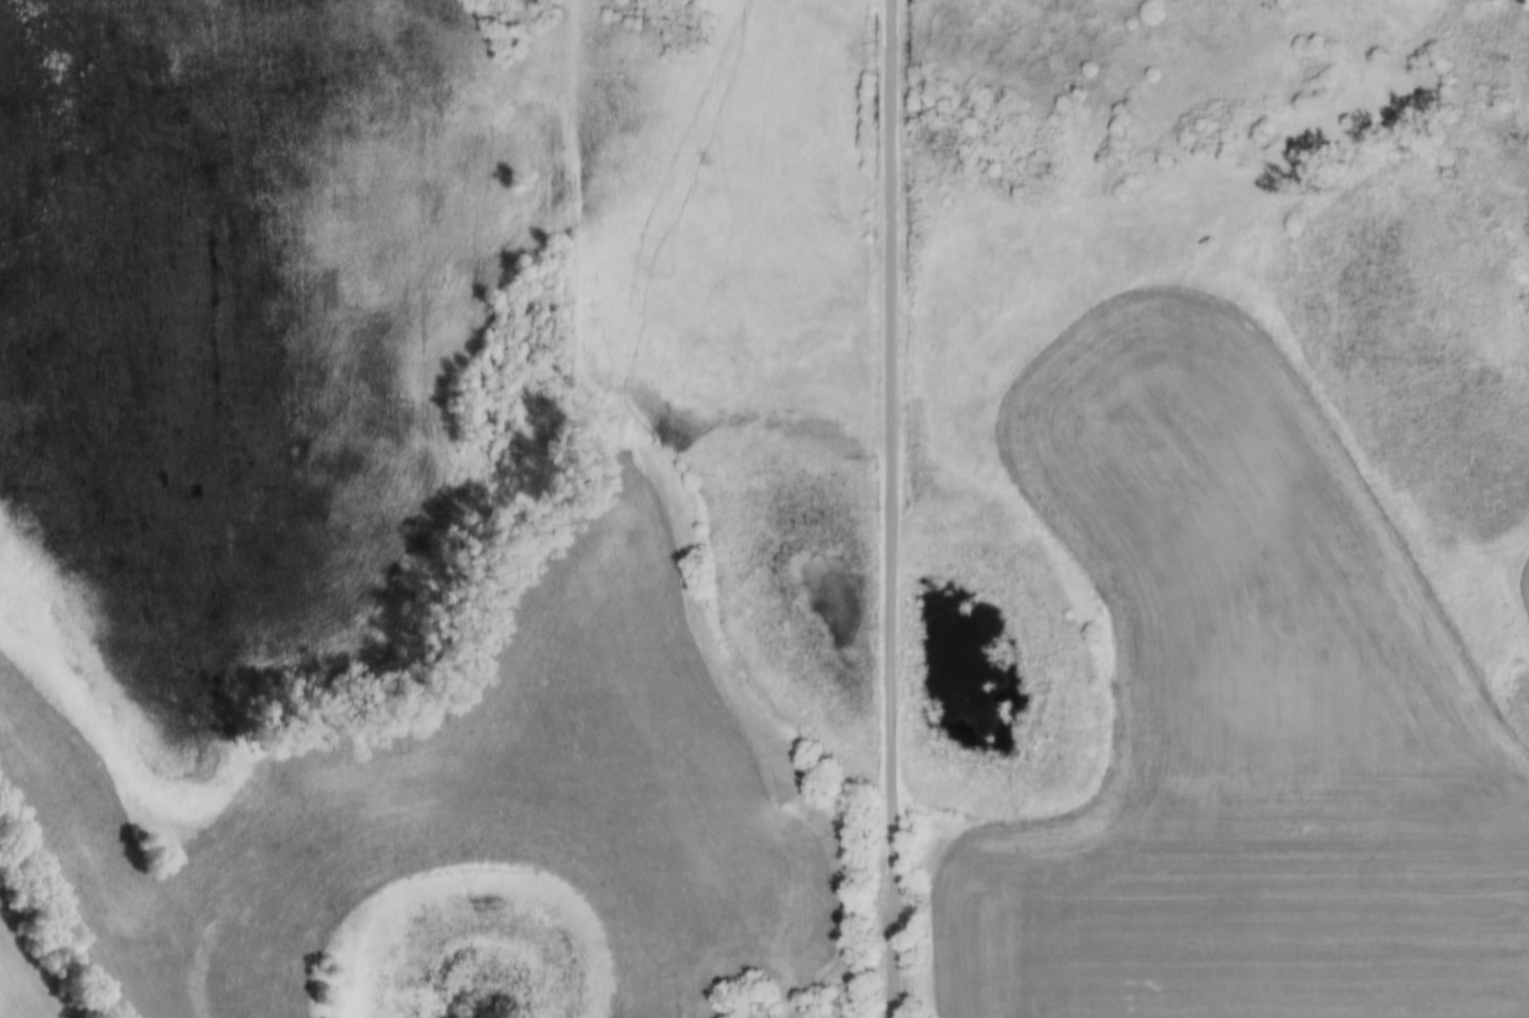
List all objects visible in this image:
road: (578, 350)
road: (886, 508)

